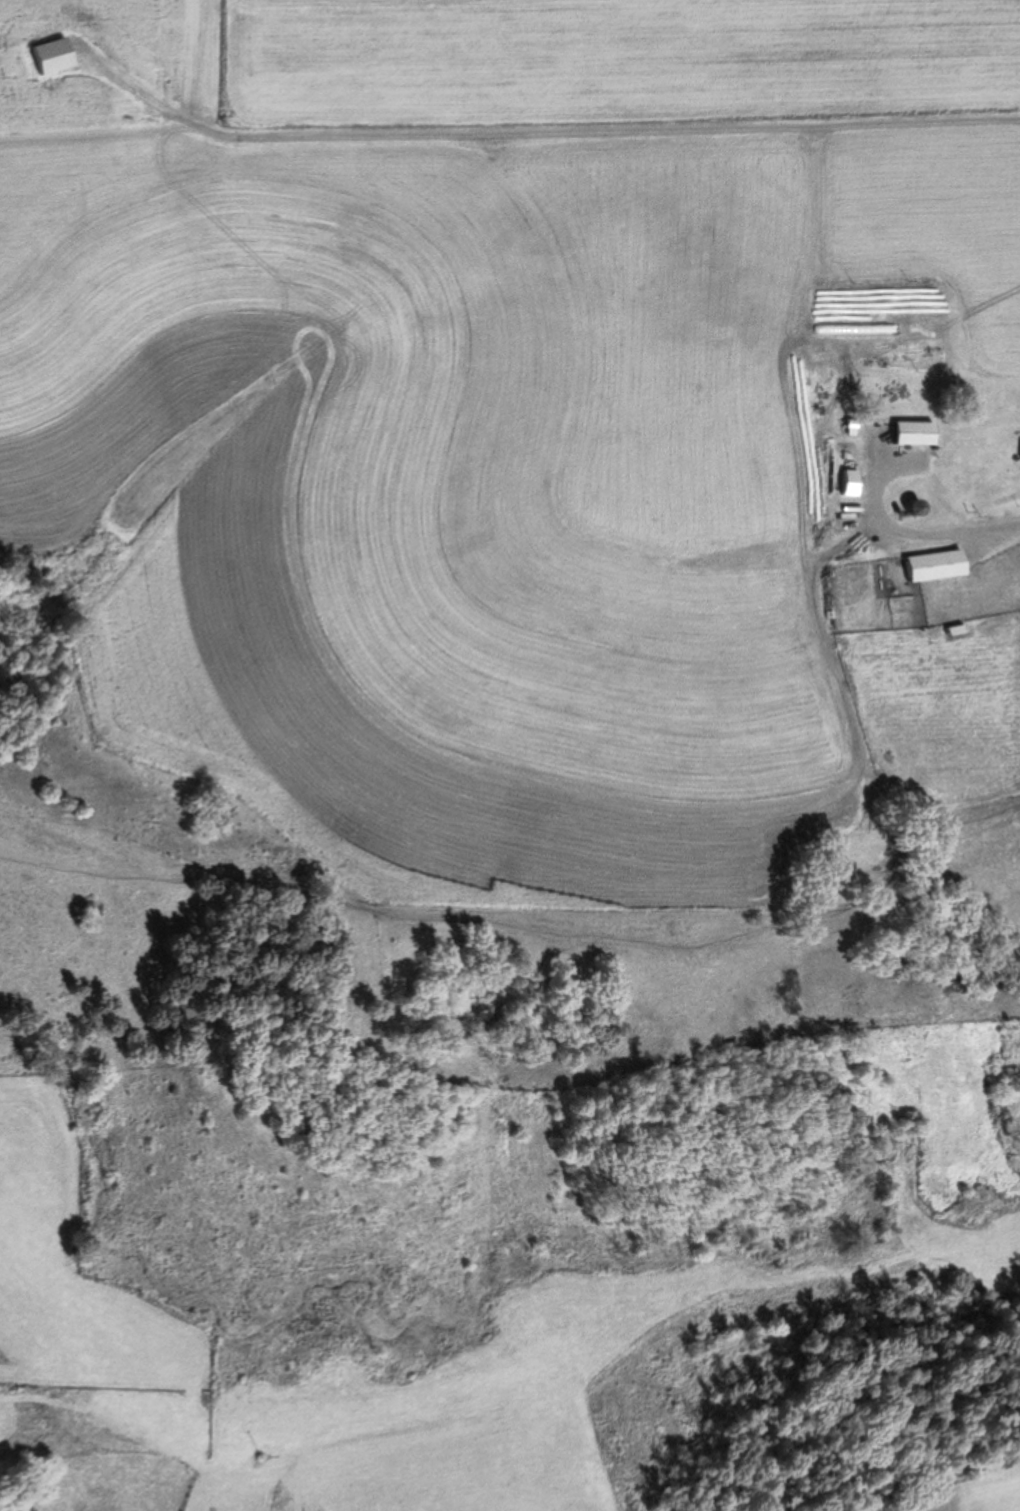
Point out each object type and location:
building: (52, 58)
building: (916, 435)
building: (937, 568)
building: (956, 632)

